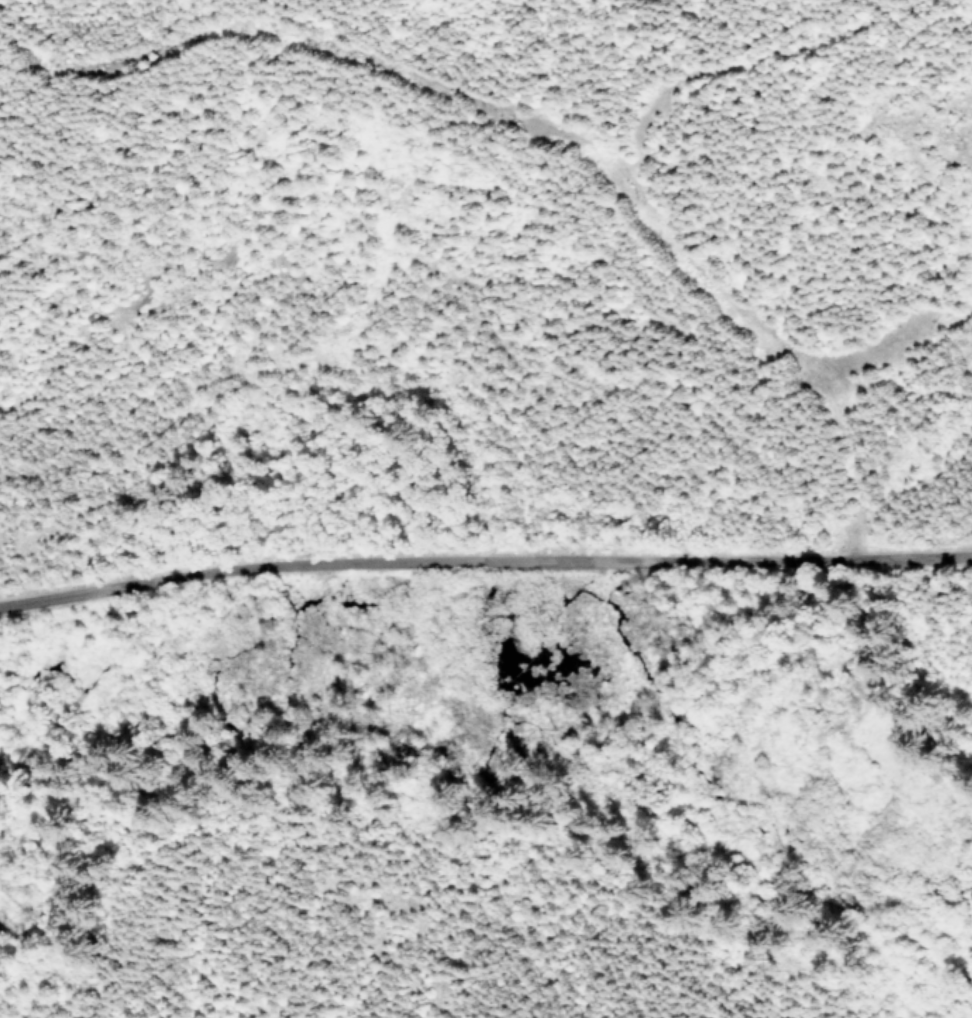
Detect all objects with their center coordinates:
road: (484, 561)

